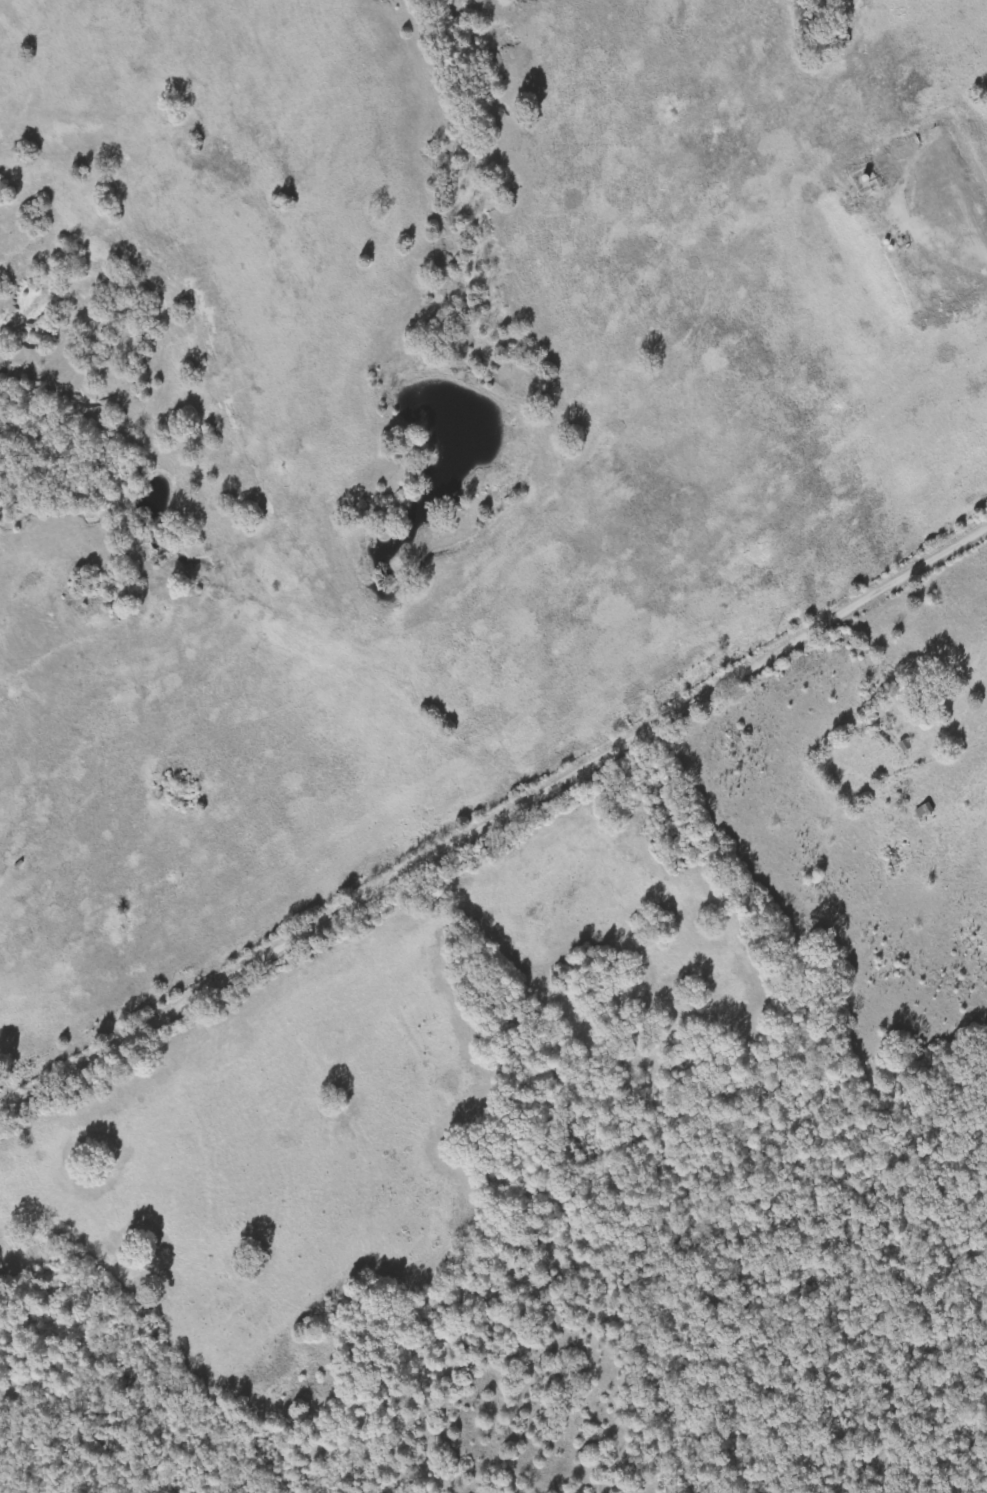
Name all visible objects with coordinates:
road: (494, 822)

